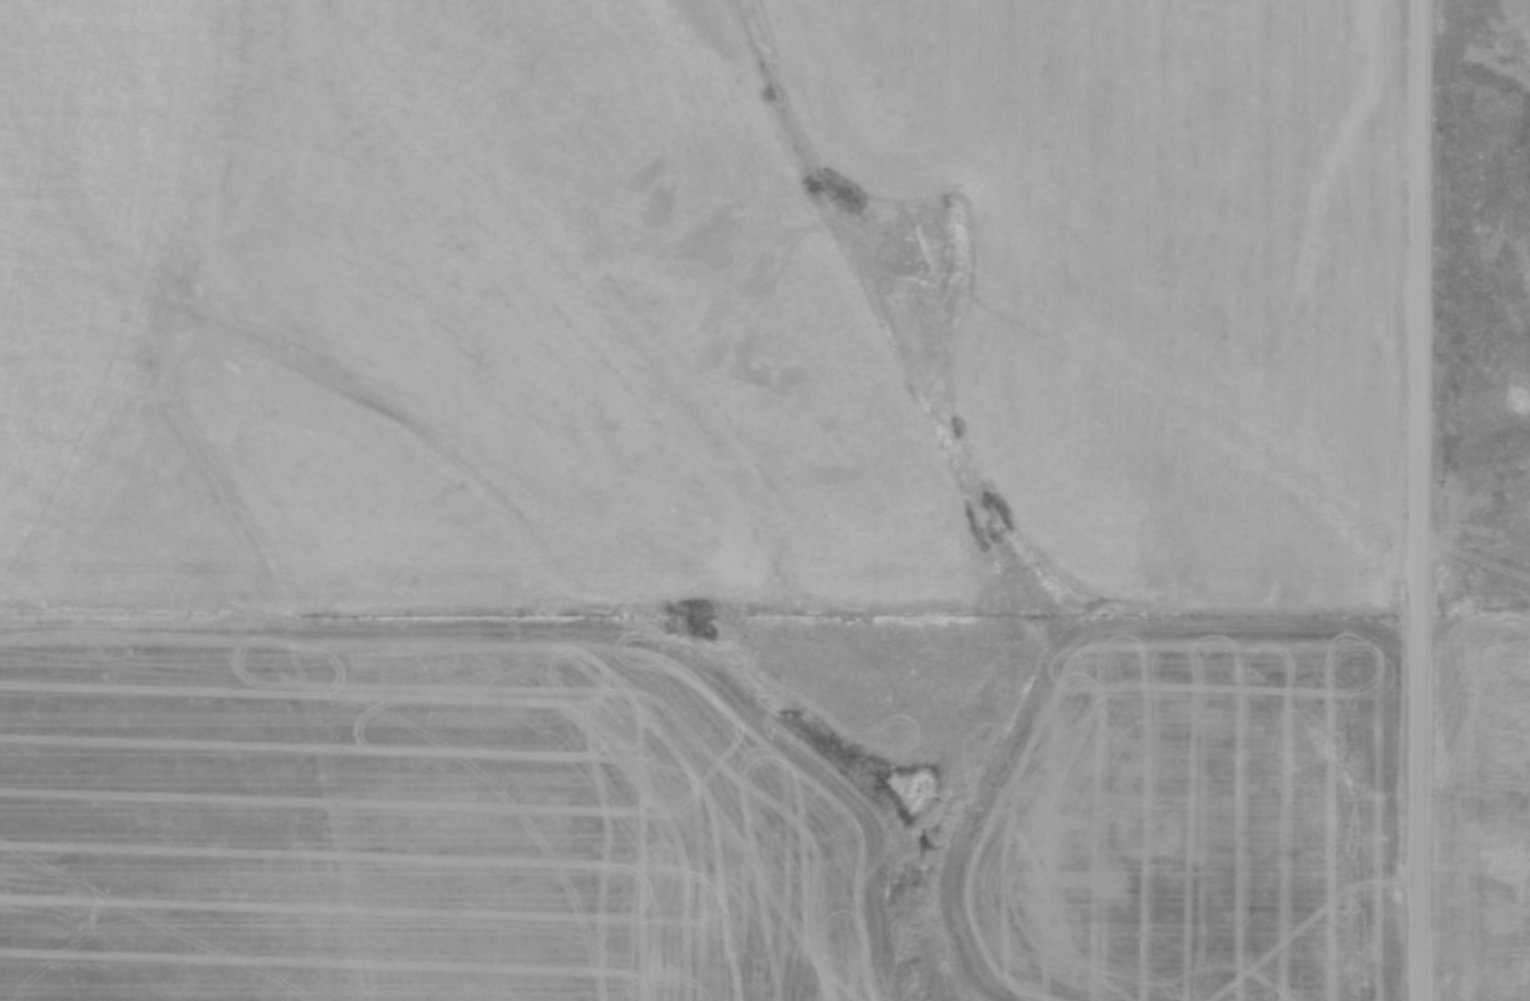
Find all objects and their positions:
crop: (305, 341)
road: (1419, 500)
crop: (1483, 816)
crop: (422, 818)

